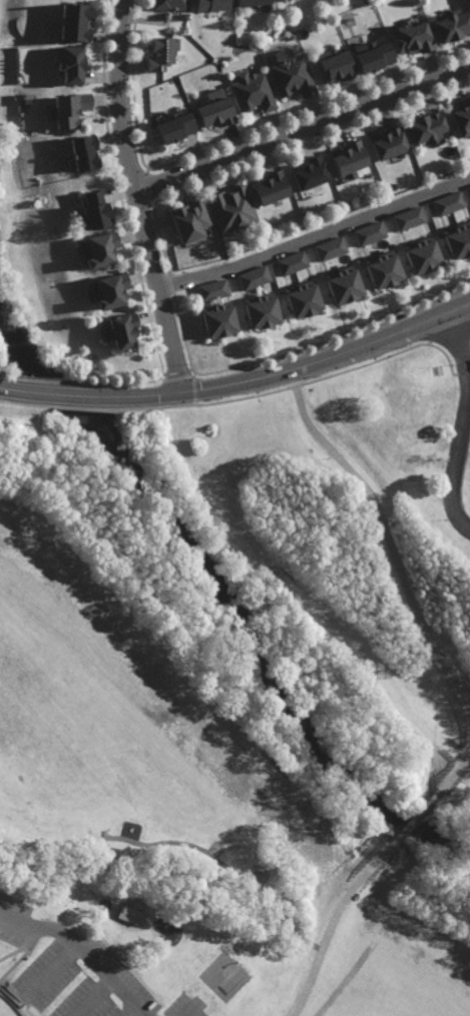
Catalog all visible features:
building: (284, 0)
building: (469, 2)
building: (250, 3)
building: (169, 5)
building: (211, 5)
building: (69, 23)
building: (450, 28)
building: (410, 39)
building: (157, 54)
building: (369, 58)
building: (65, 65)
building: (332, 67)
building: (288, 78)
building: (251, 94)
building: (65, 112)
building: (214, 114)
building: (462, 119)
building: (424, 129)
building: (172, 130)
road: (307, 134)
building: (386, 144)
building: (80, 156)
building: (347, 159)
building: (309, 175)
building: (270, 190)
road: (144, 195)
building: (448, 205)
building: (231, 208)
building: (93, 210)
building: (408, 218)
building: (189, 220)
building: (369, 231)
road: (315, 237)
building: (458, 238)
building: (96, 245)
building: (329, 247)
building: (422, 253)
building: (73, 261)
building: (292, 262)
building: (382, 268)
building: (254, 276)
building: (342, 282)
building: (107, 287)
building: (212, 289)
building: (301, 297)
building: (261, 309)
building: (217, 318)
building: (119, 328)
road: (461, 348)
road: (177, 377)
road: (239, 379)
road: (193, 381)
road: (194, 395)
road: (246, 397)
road: (456, 462)
road: (285, 506)
road: (391, 542)
road: (432, 561)
road: (454, 650)
park: (227, 716)
road: (430, 755)
road: (469, 755)
road: (455, 772)
road: (455, 800)
road: (417, 815)
road: (225, 866)
road: (108, 897)
building: (129, 917)
road: (334, 920)
road: (145, 922)
road: (112, 949)
road: (118, 949)
road: (81, 950)
road: (125, 960)
parking lot: (78, 970)
road: (53, 971)
park: (225, 972)
road: (95, 998)
park: (7, 1007)
road: (132, 1011)
road: (191, 1011)

